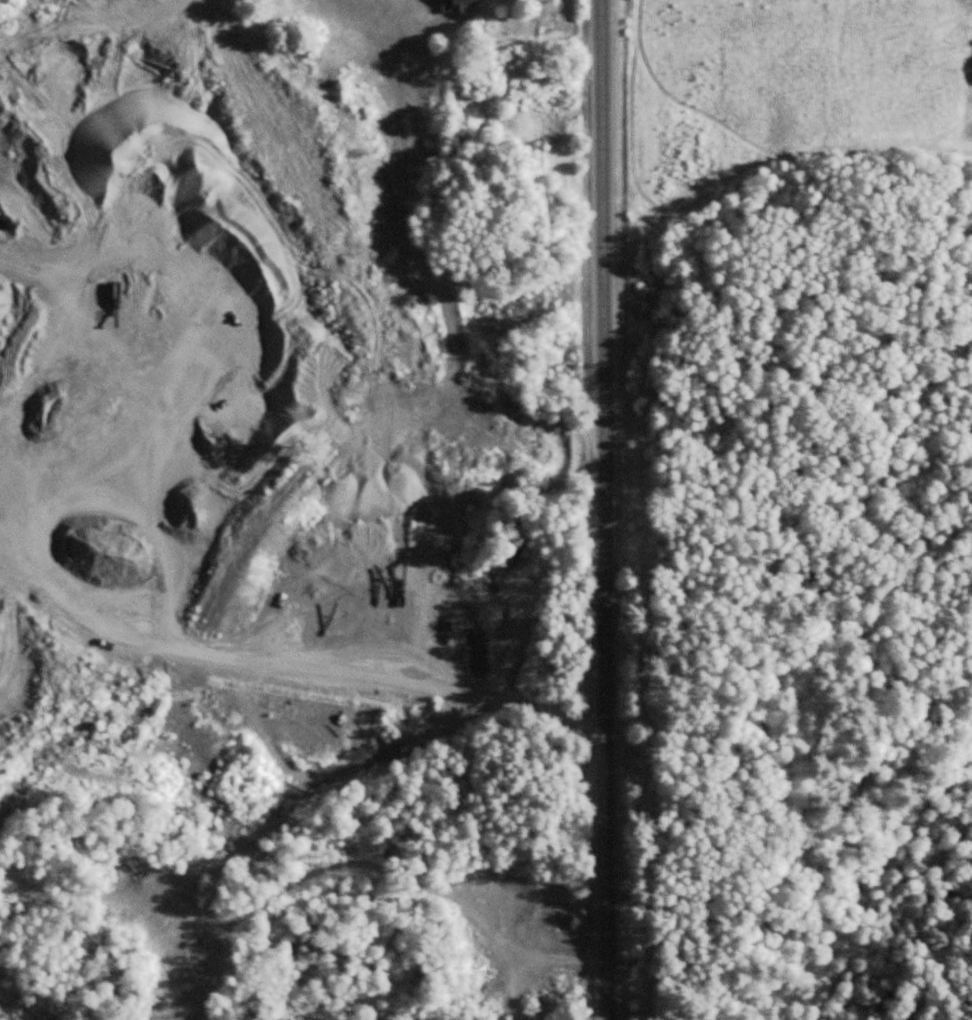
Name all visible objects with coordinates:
building: (463, 4)
quarry: (221, 385)
road: (609, 510)

